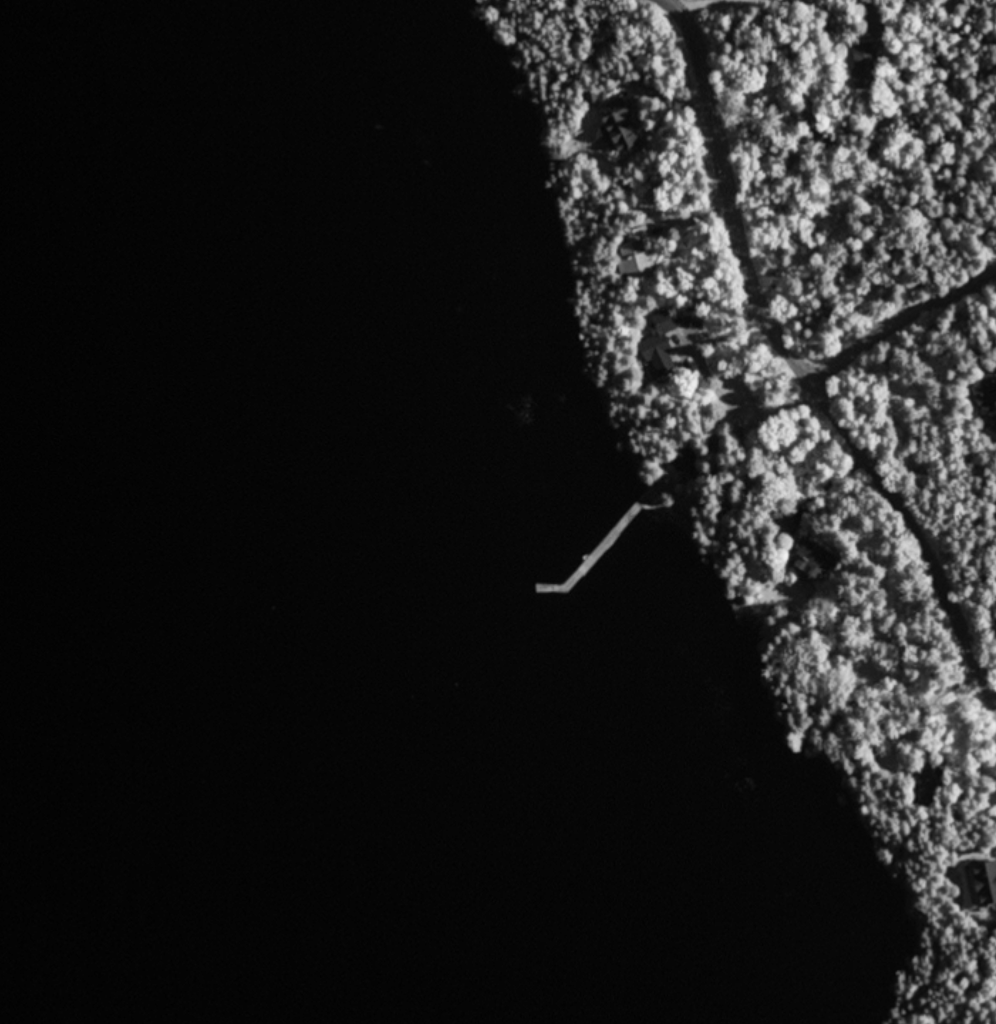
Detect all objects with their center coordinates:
building: (864, 62)
building: (615, 125)
river: (409, 163)
building: (632, 255)
road: (902, 320)
building: (655, 345)
road: (796, 361)
building: (985, 392)
building: (684, 457)
building: (783, 523)
building: (810, 559)
building: (921, 781)
building: (984, 881)

